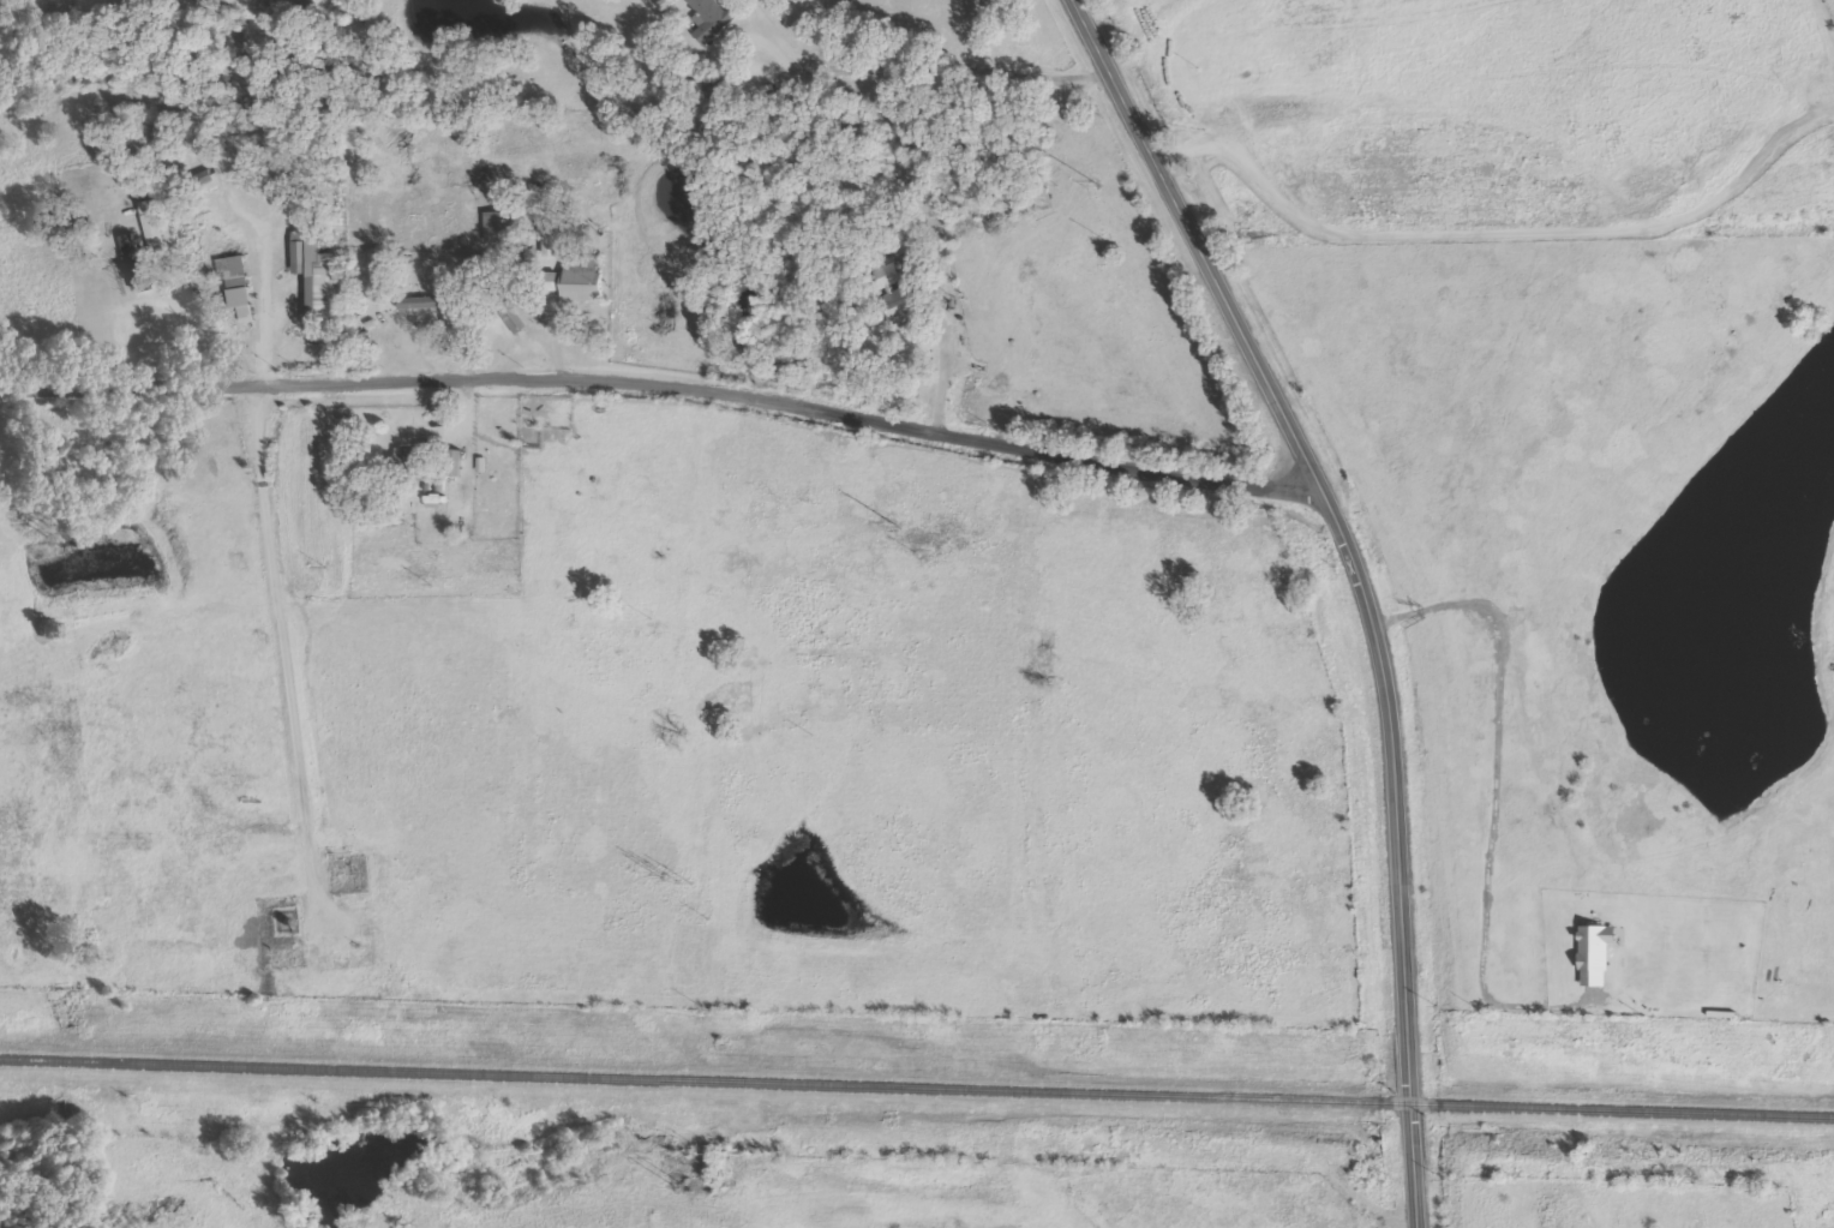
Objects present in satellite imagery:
building: (714, 20)
road: (931, 68)
building: (156, 227)
building: (502, 229)
building: (555, 245)
building: (137, 263)
building: (325, 277)
building: (240, 282)
building: (580, 282)
building: (899, 289)
building: (428, 305)
building: (906, 316)
building: (525, 318)
road: (665, 383)
building: (460, 465)
road: (1357, 582)
road: (296, 699)
building: (1600, 954)
railway: (917, 1086)

